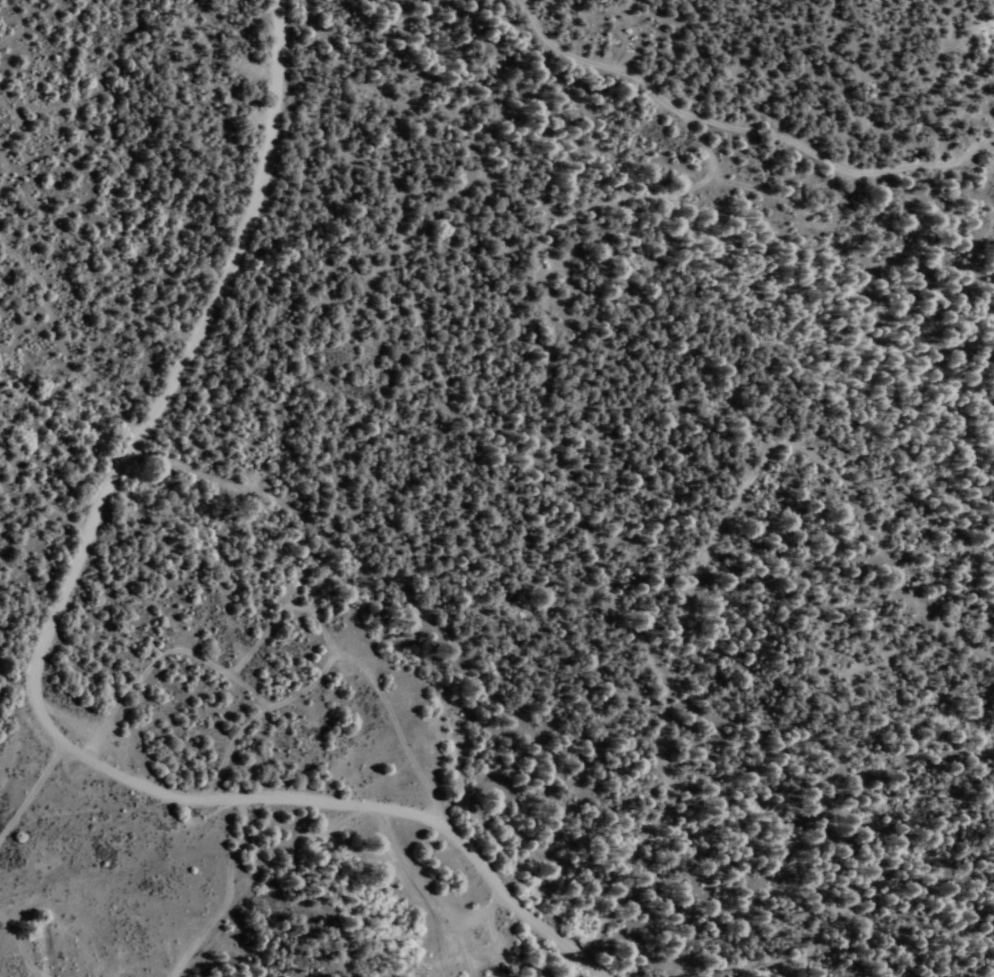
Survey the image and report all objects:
road: (734, 118)
road: (566, 470)
road: (34, 658)
road: (662, 784)
road: (32, 791)

